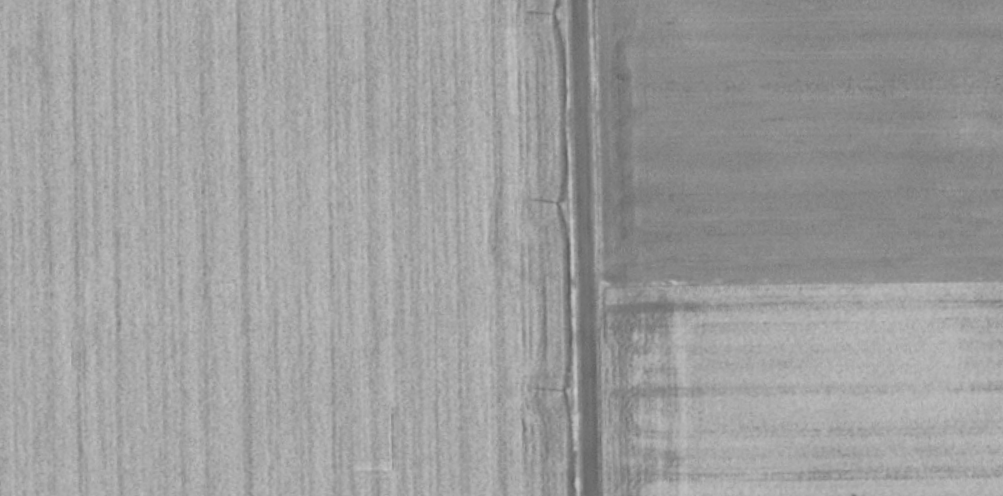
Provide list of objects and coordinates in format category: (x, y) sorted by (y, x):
road: (590, 248)

